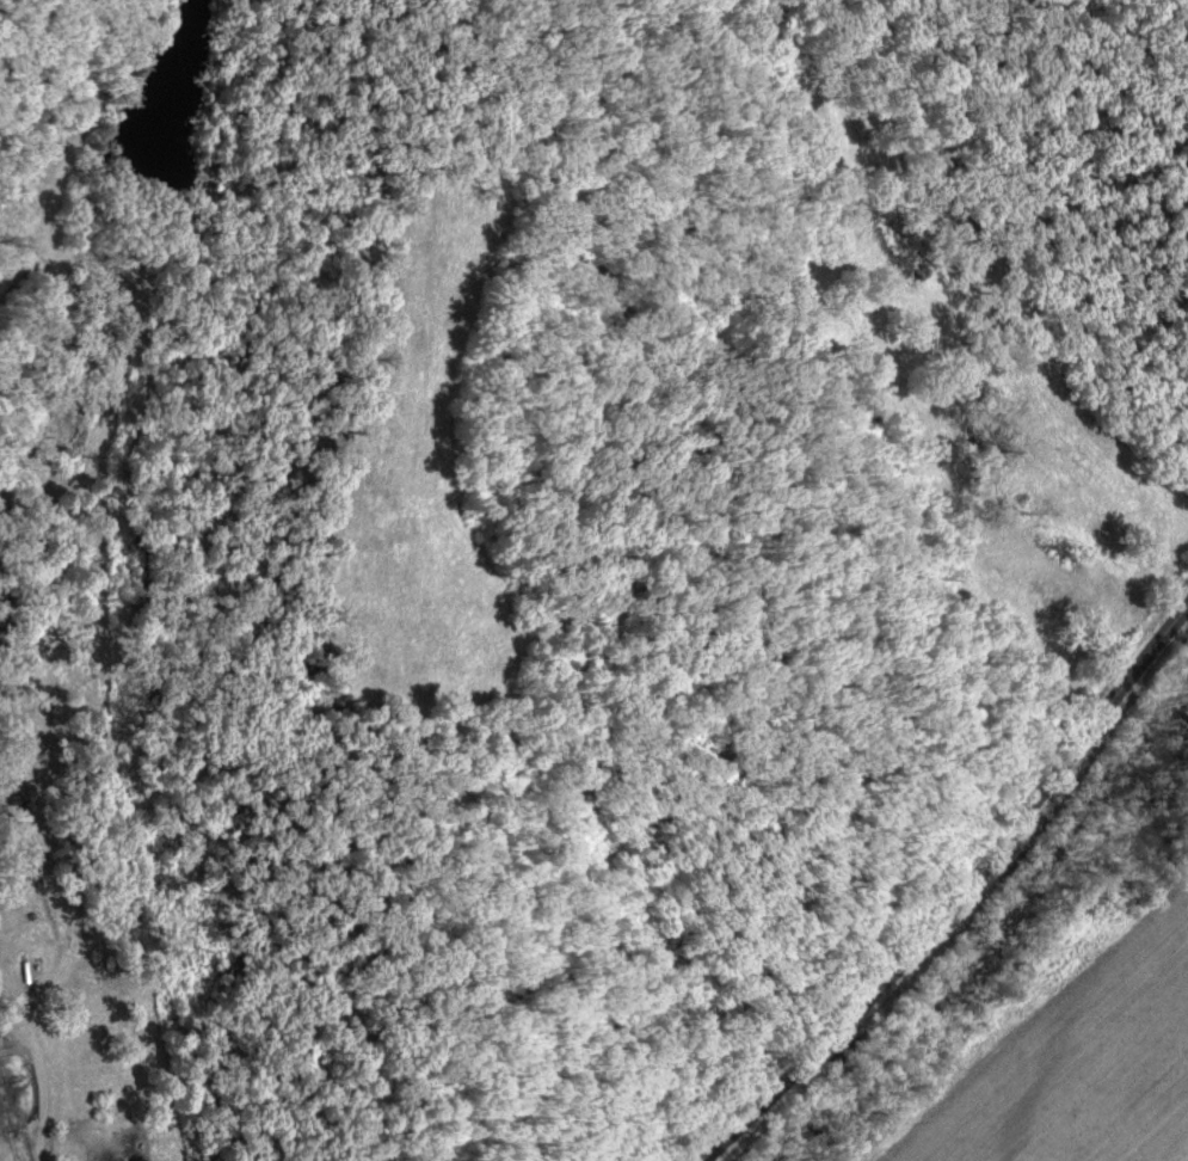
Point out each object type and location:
road: (953, 896)
building: (25, 928)
crop: (1078, 1068)
road: (43, 1095)

